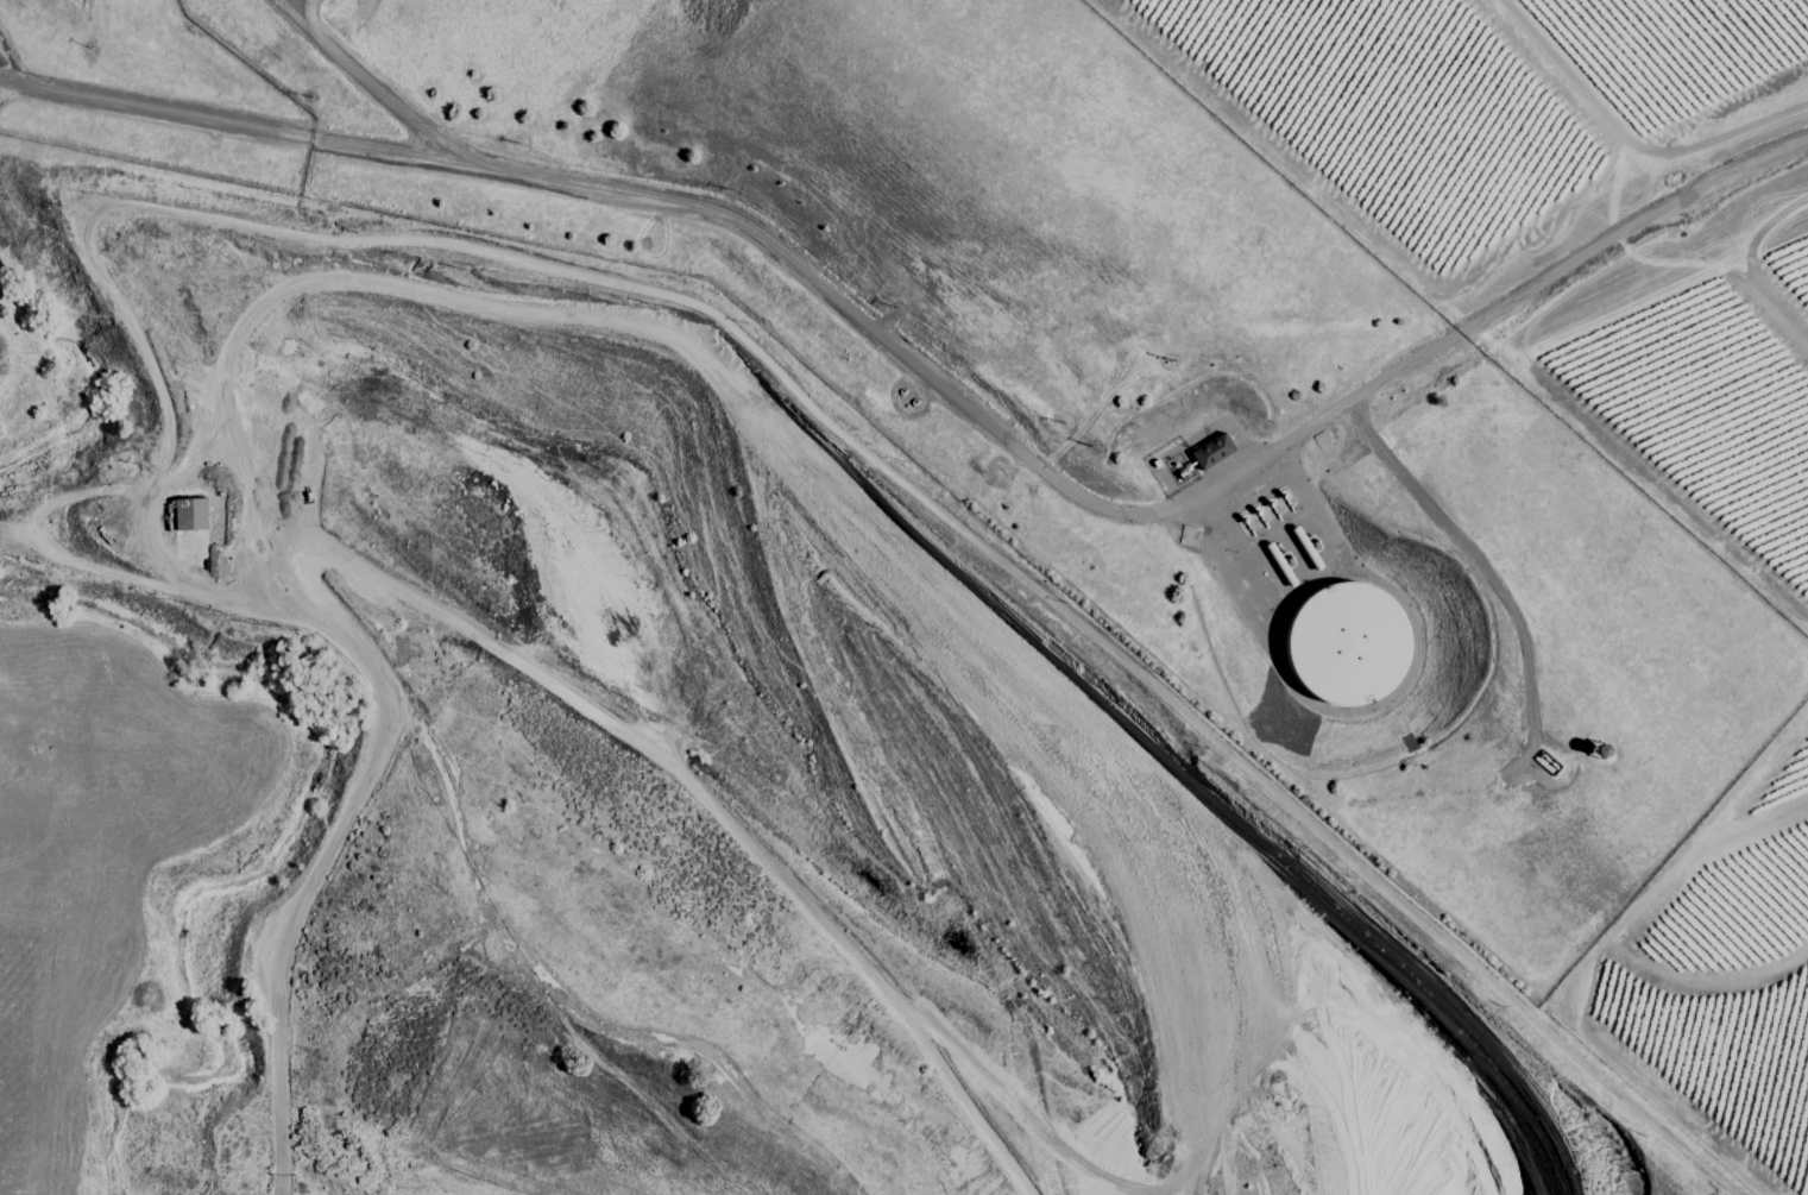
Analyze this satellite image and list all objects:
crop: (75, 4)
crop: (1557, 218)
road: (940, 389)
building: (1210, 451)
building: (188, 514)
road: (1472, 554)
quarry: (786, 743)
road: (347, 811)
crop: (1706, 987)

